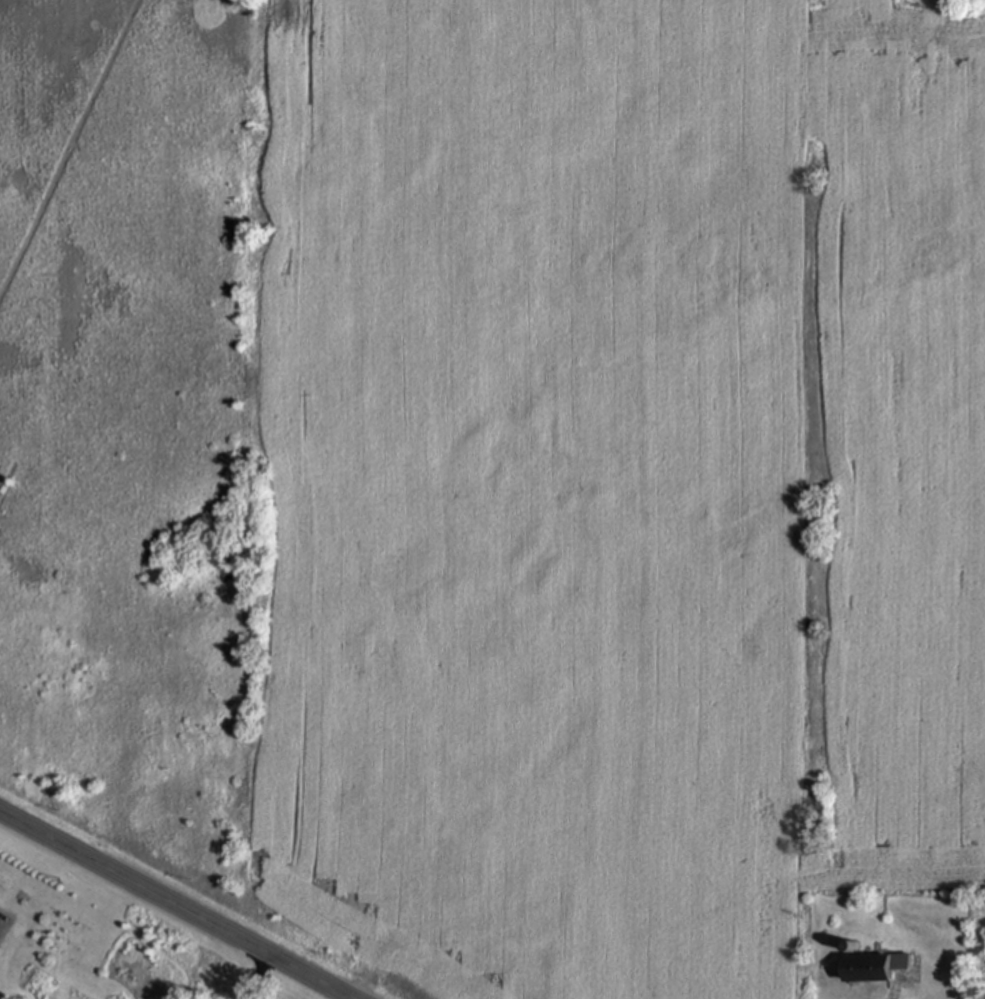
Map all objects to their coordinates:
road: (172, 909)
building: (869, 970)

